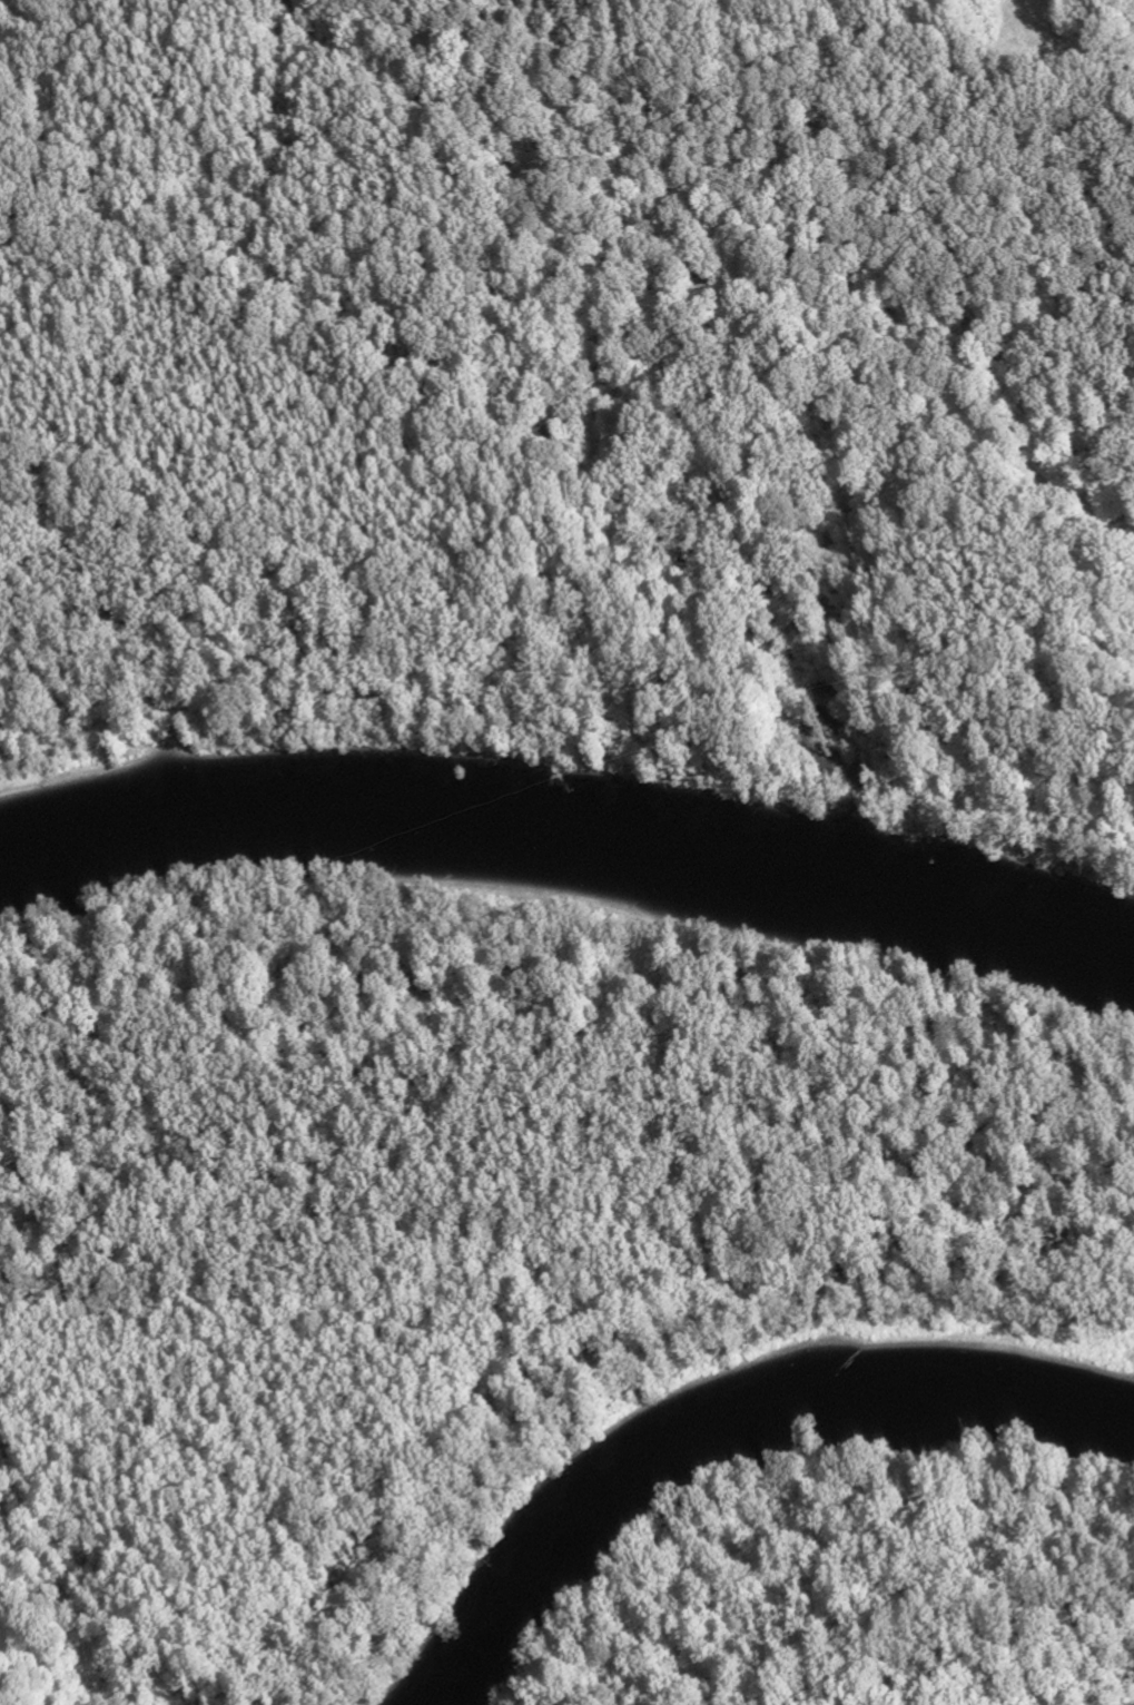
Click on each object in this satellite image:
road: (769, 73)
road: (714, 300)
river: (570, 842)
river: (719, 1422)

